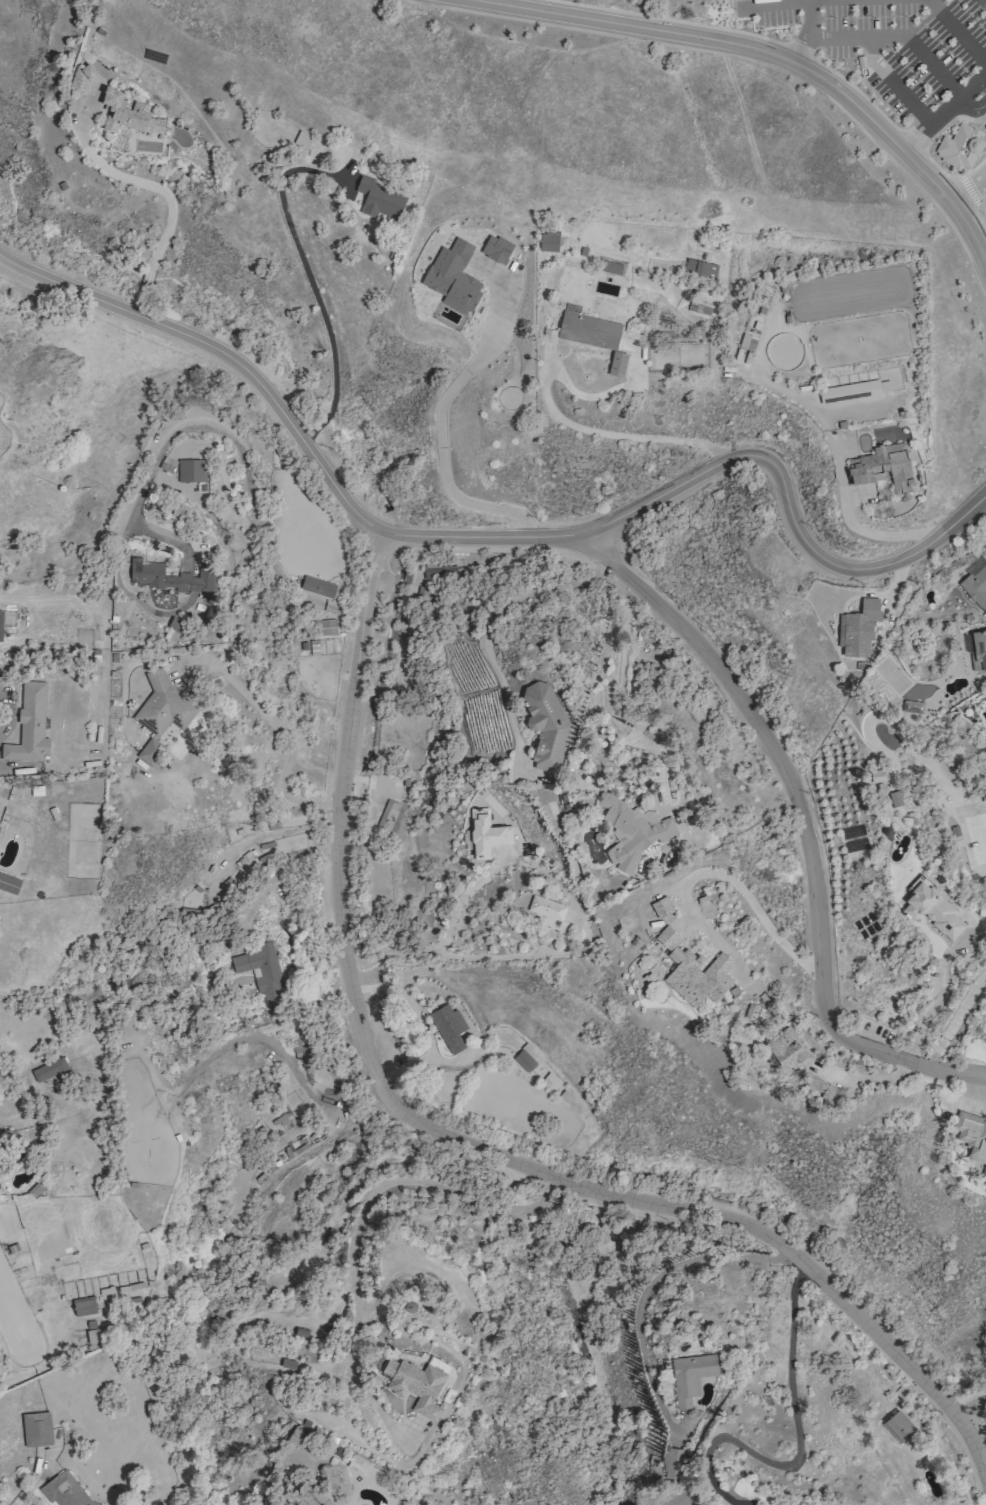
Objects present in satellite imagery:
road: (985, 0)
road: (773, 3)
road: (739, 31)
road: (956, 31)
road: (808, 32)
road: (896, 36)
parking lot: (890, 40)
road: (740, 44)
building: (860, 62)
building: (81, 78)
road: (892, 82)
road: (970, 108)
road: (942, 110)
building: (128, 114)
road: (948, 120)
road: (980, 124)
road: (911, 140)
building: (957, 146)
road: (938, 169)
road: (977, 179)
road: (965, 183)
road: (150, 185)
road: (977, 187)
road: (959, 196)
road: (972, 197)
building: (378, 199)
road: (977, 216)
road: (970, 233)
building: (548, 240)
road: (982, 247)
building: (700, 269)
road: (312, 288)
building: (589, 330)
building: (617, 364)
road: (616, 433)
road: (235, 438)
road: (438, 453)
building: (882, 467)
building: (191, 470)
road: (966, 511)
road: (873, 533)
road: (467, 536)
building: (442, 572)
building: (166, 577)
building: (975, 583)
building: (319, 586)
road: (493, 618)
building: (0, 623)
building: (175, 625)
building: (325, 627)
building: (858, 628)
building: (976, 650)
building: (162, 706)
road: (641, 719)
building: (28, 725)
building: (545, 725)
road: (288, 743)
building: (880, 775)
road: (806, 824)
building: (631, 829)
building: (486, 833)
road: (270, 882)
building: (8, 883)
road: (745, 893)
building: (546, 907)
building: (931, 907)
road: (584, 942)
building: (693, 971)
building: (261, 972)
road: (933, 1002)
building: (750, 1010)
road: (954, 1018)
building: (448, 1027)
building: (787, 1049)
building: (526, 1057)
building: (51, 1069)
building: (823, 1087)
building: (972, 1136)
road: (450, 1140)
road: (652, 1279)
building: (83, 1305)
building: (92, 1335)
building: (438, 1362)
building: (690, 1373)
building: (415, 1383)
road: (968, 1400)
building: (898, 1426)
building: (36, 1428)
building: (300, 1438)
road: (798, 1445)
building: (672, 1461)
building: (64, 1490)
building: (309, 1492)

